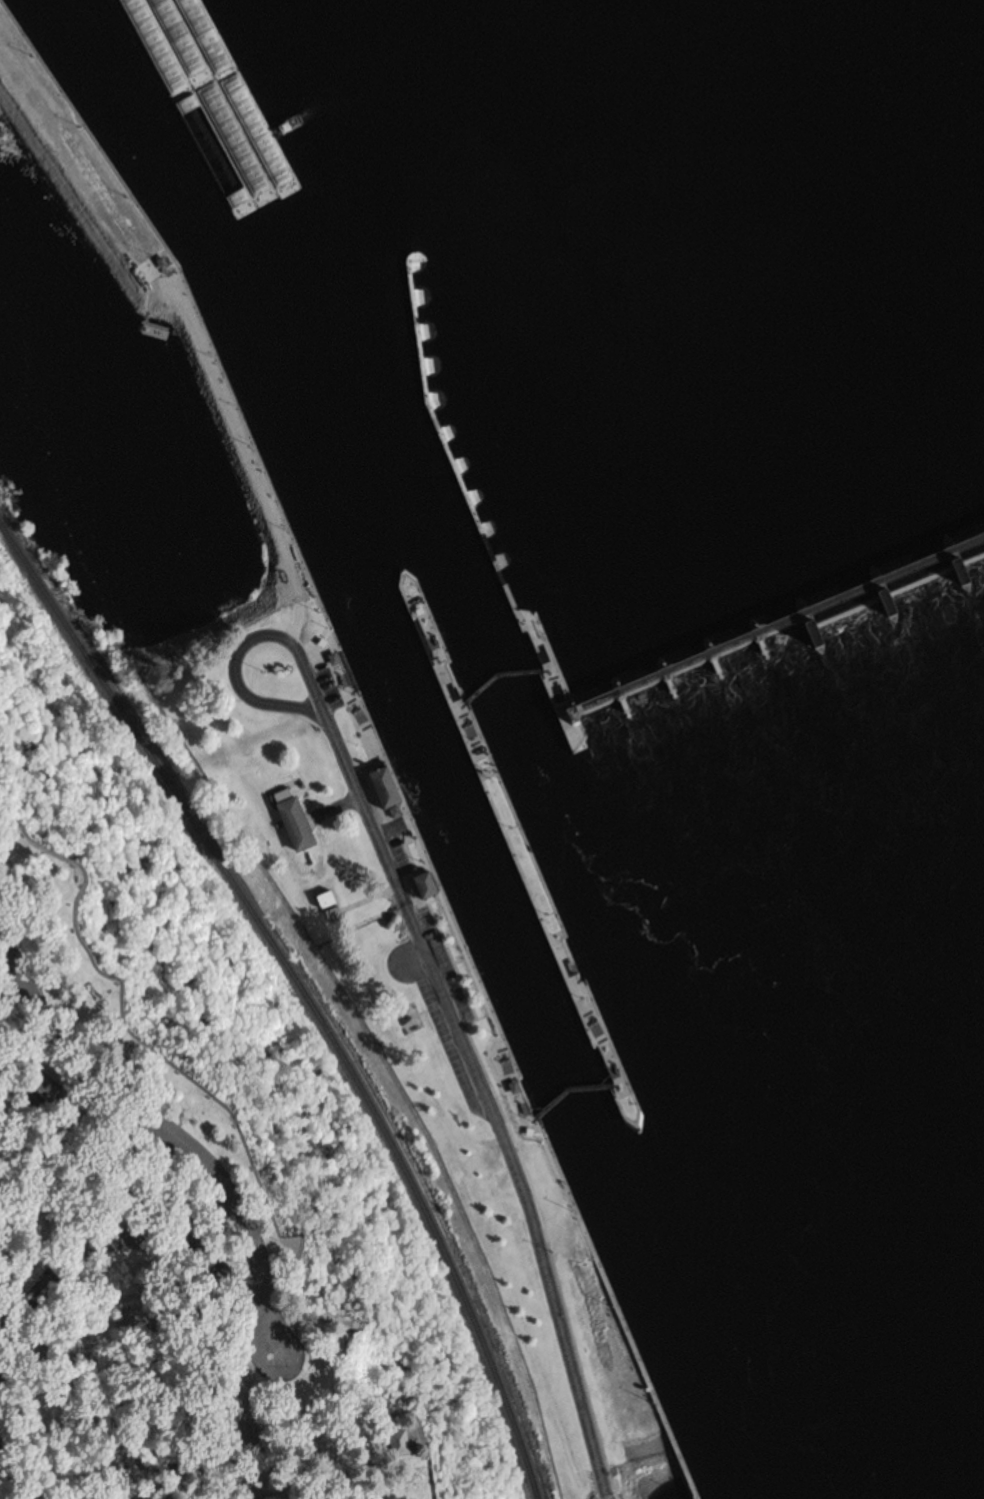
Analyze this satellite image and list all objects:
building: (170, 262)
river: (267, 332)
road: (253, 459)
dam: (806, 622)
building: (336, 659)
road: (235, 682)
road: (350, 776)
building: (388, 787)
building: (396, 813)
building: (299, 825)
building: (427, 885)
lock: (483, 887)
building: (328, 900)
road: (0, 912)
parking lot: (0, 914)
building: (335, 915)
building: (371, 933)
road: (462, 956)
road: (450, 959)
road: (457, 961)
parking lot: (440, 991)
railway: (306, 993)
building: (407, 1019)
road: (17, 1057)
road: (201, 1070)
road: (190, 1087)
building: (517, 1087)
park: (208, 1157)
road: (245, 1173)
road: (521, 1185)
park: (507, 1196)
building: (486, 1200)
road: (549, 1251)
river: (679, 1294)
road: (329, 1330)
parking lot: (292, 1332)
road: (328, 1343)
road: (326, 1367)
road: (384, 1406)
building: (445, 1448)
road: (605, 1488)
road: (619, 1497)

